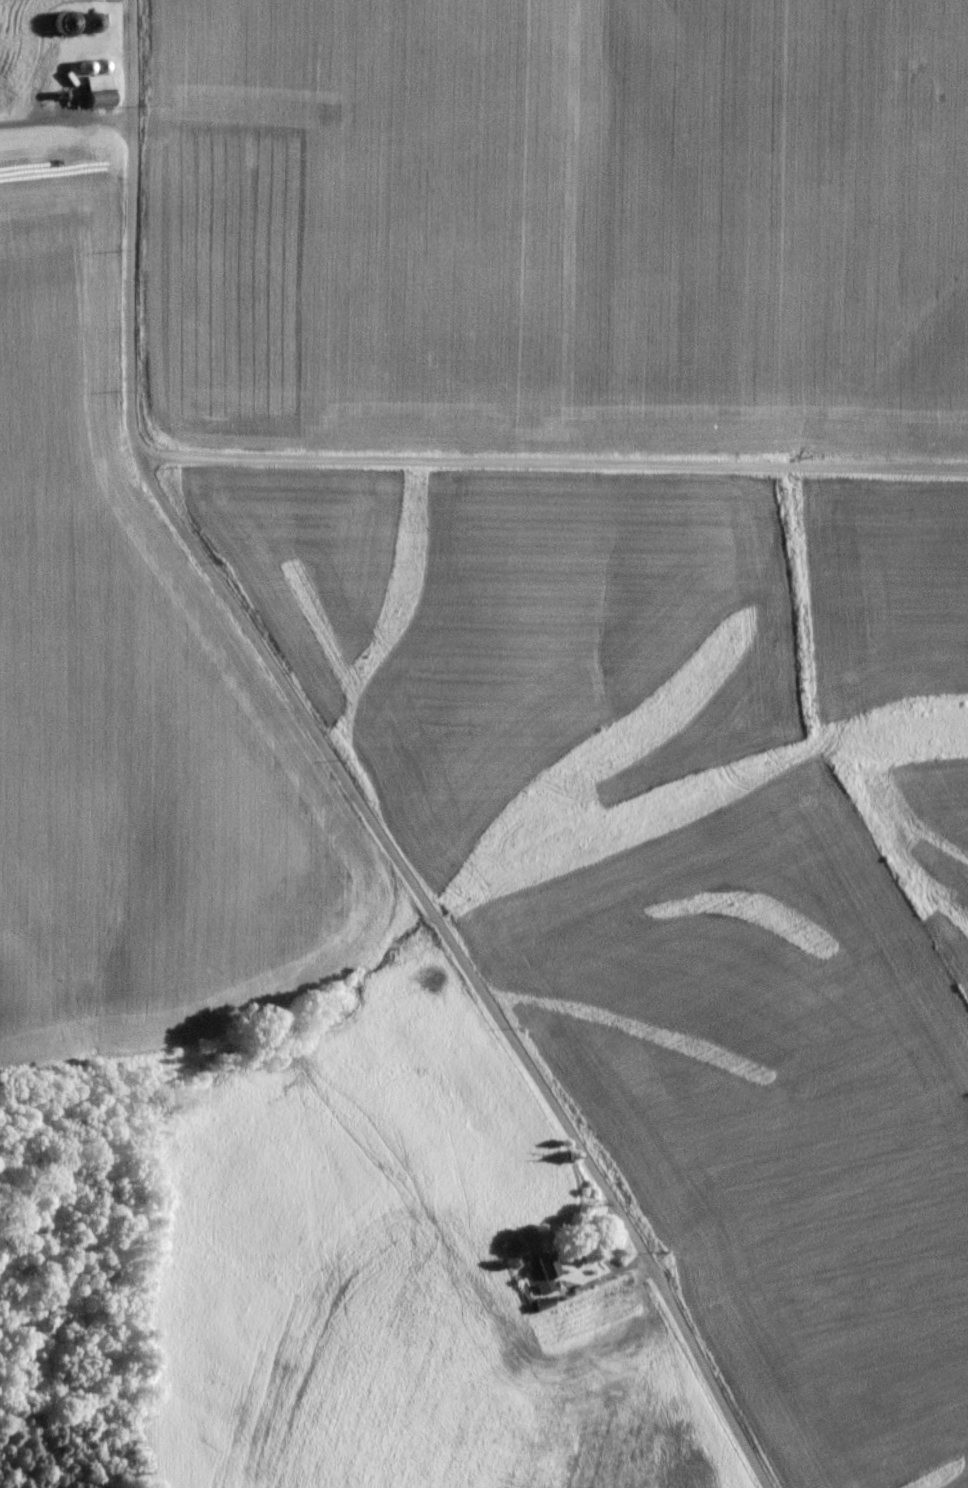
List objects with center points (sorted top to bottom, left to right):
building: (93, 22)
building: (65, 72)
building: (101, 90)
road: (578, 449)
road: (370, 776)

